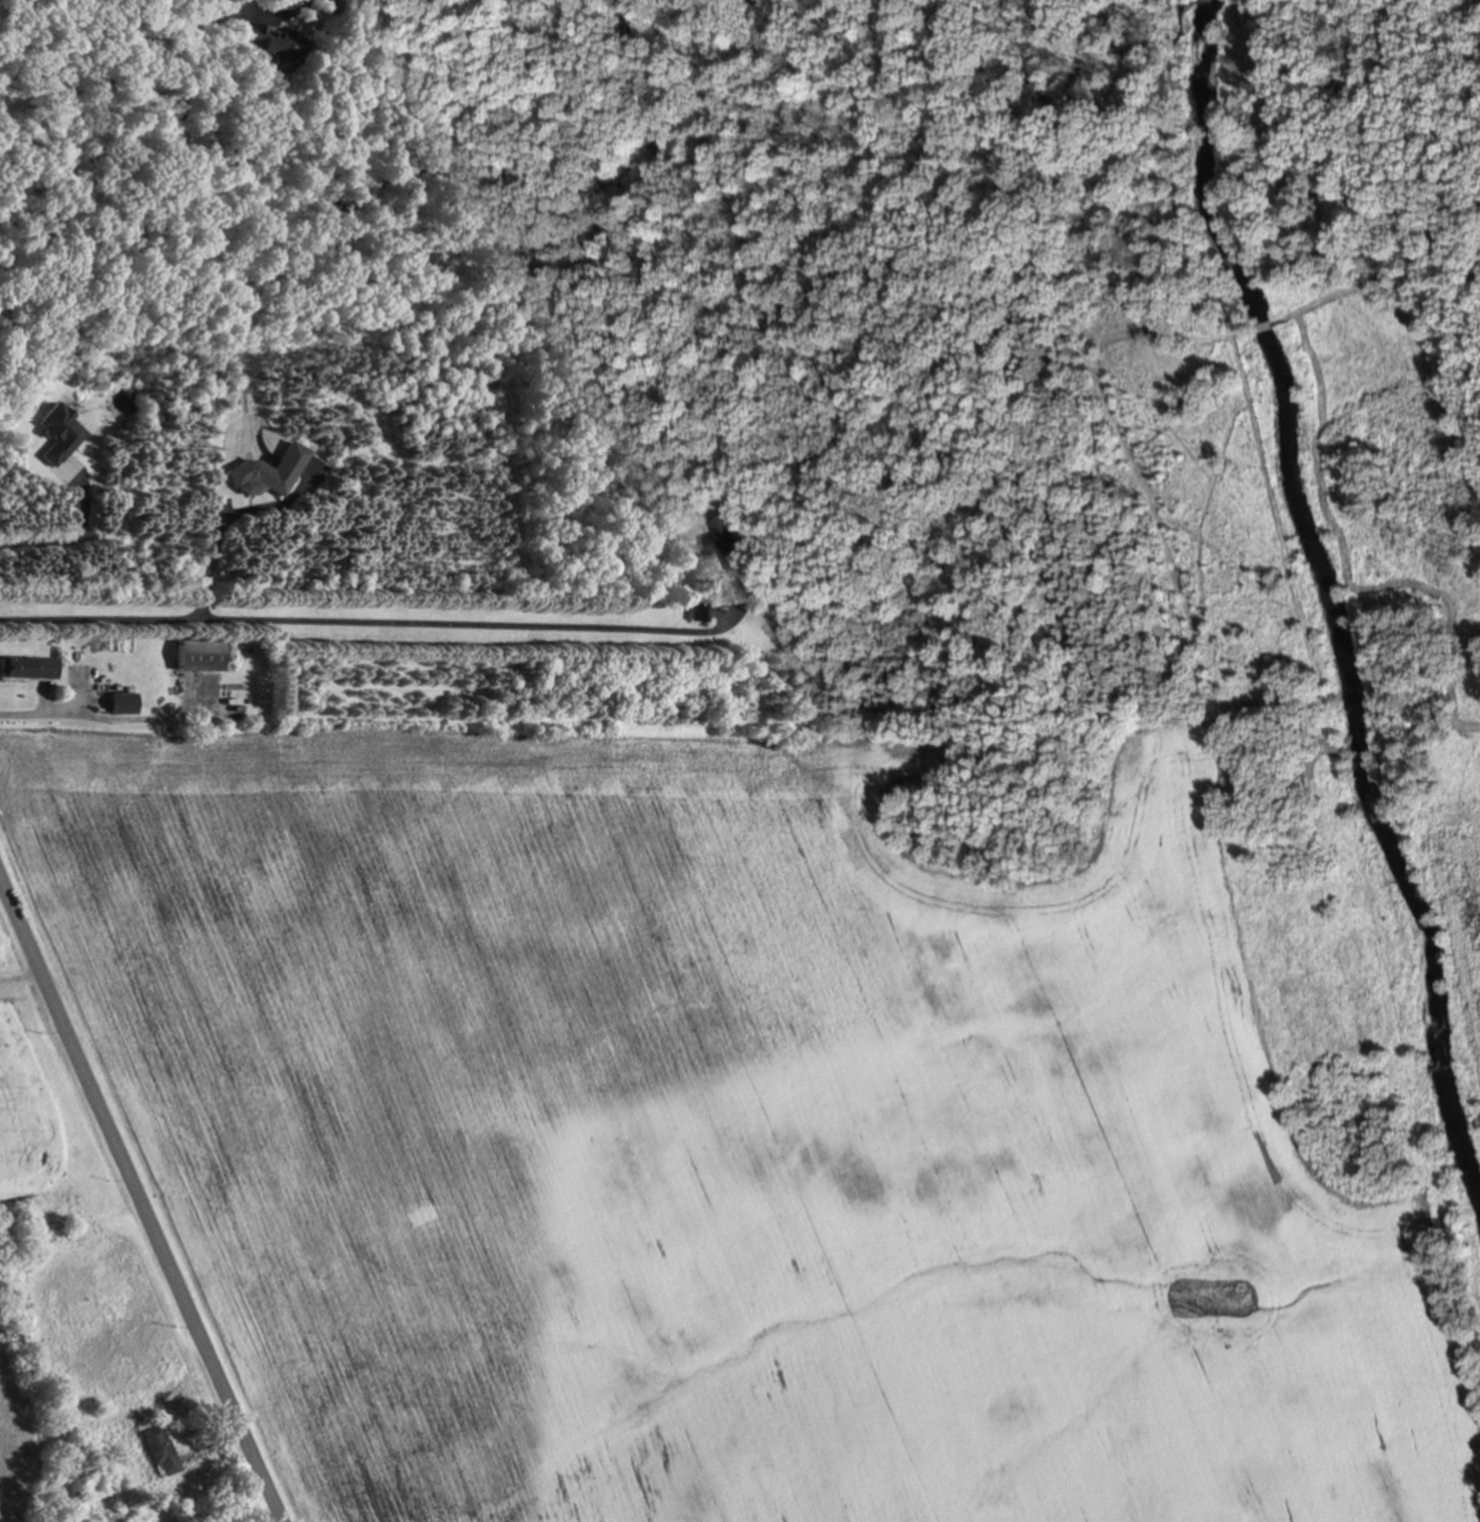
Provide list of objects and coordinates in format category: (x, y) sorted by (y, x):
building: (324, 4)
road: (238, 7)
road: (273, 18)
building: (263, 44)
road: (109, 46)
building: (56, 433)
building: (264, 471)
road: (72, 538)
building: (729, 539)
road: (389, 625)
building: (27, 667)
building: (121, 702)
road: (24, 716)
crop: (1460, 884)
road: (21, 979)
crop: (21, 1115)
crop: (725, 1138)
road: (136, 1199)
crop: (10, 1447)

